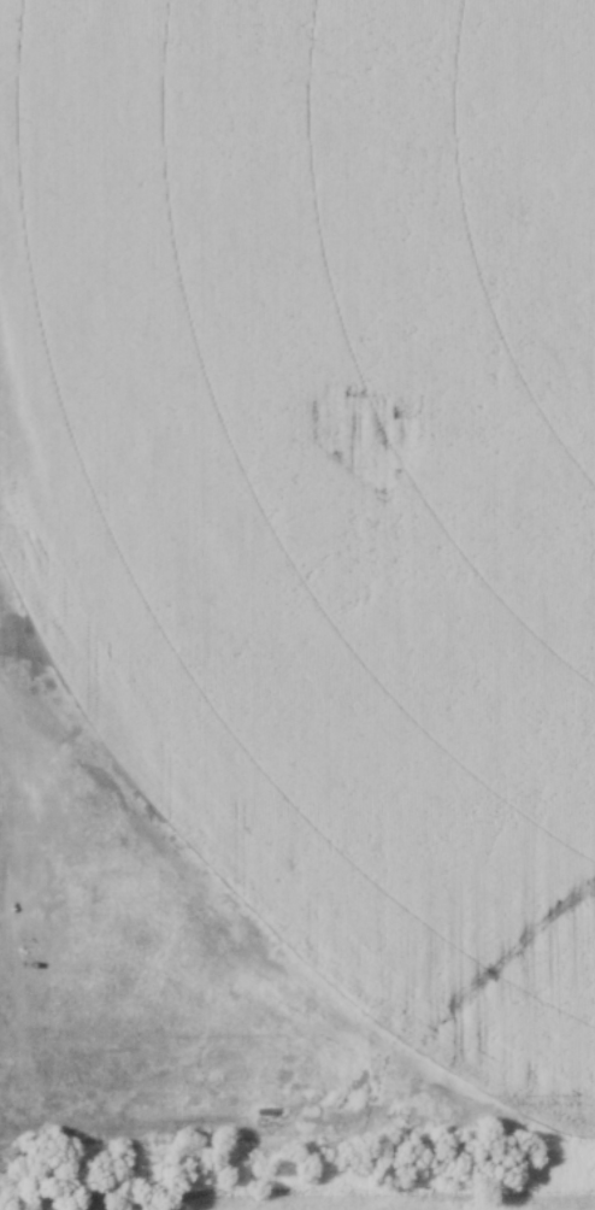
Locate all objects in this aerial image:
building: (270, 1133)

